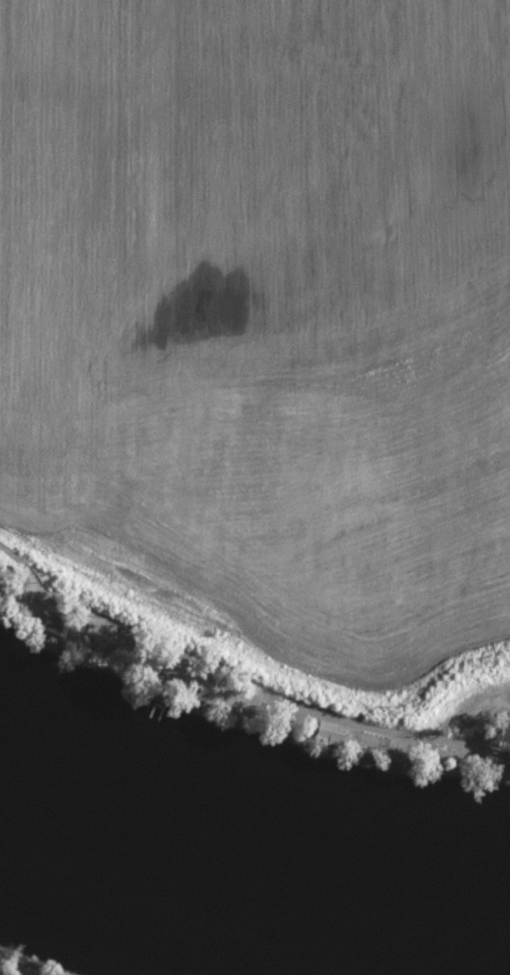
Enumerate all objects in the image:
building: (44, 623)
road: (236, 687)
building: (317, 730)
building: (365, 742)
building: (431, 744)
building: (491, 760)
river: (246, 871)

